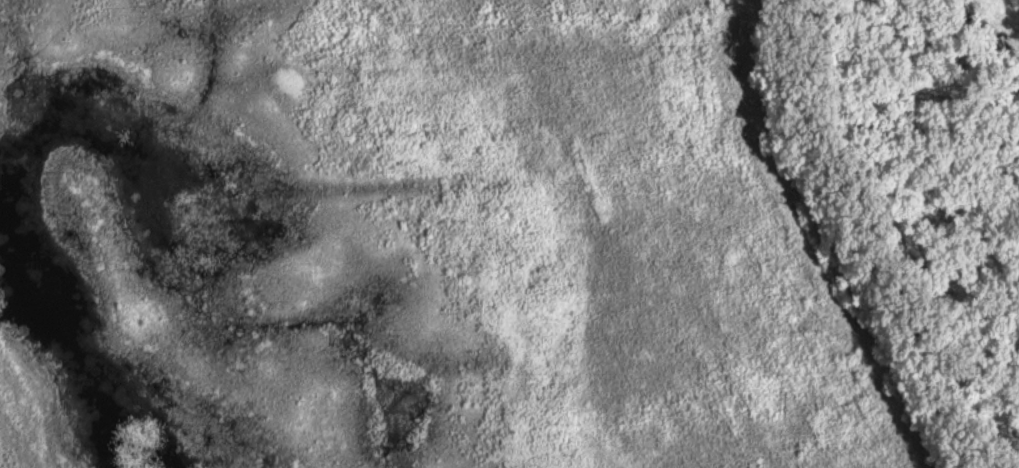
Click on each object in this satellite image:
river: (1002, 16)

